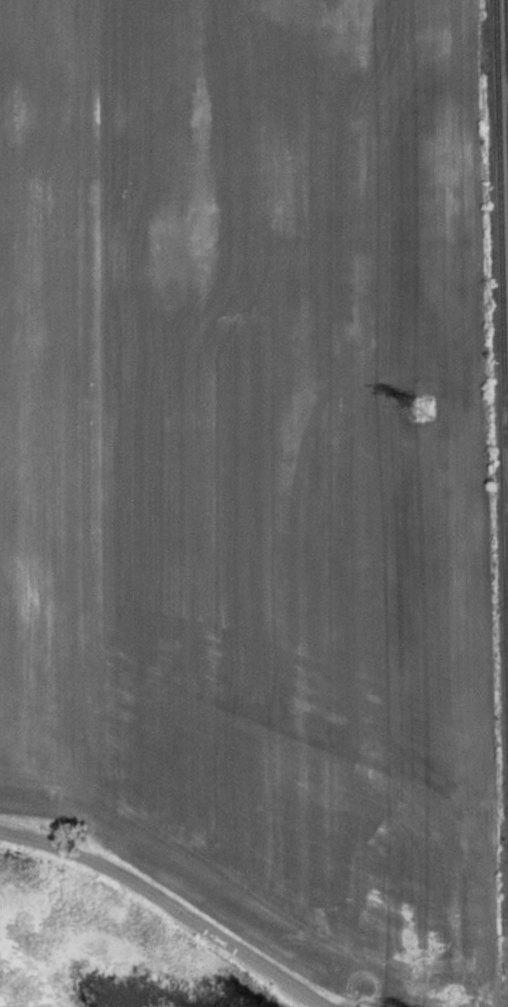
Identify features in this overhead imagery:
railway: (505, 110)
railway: (501, 313)
power tower: (422, 403)
crop: (257, 468)
road: (170, 904)

